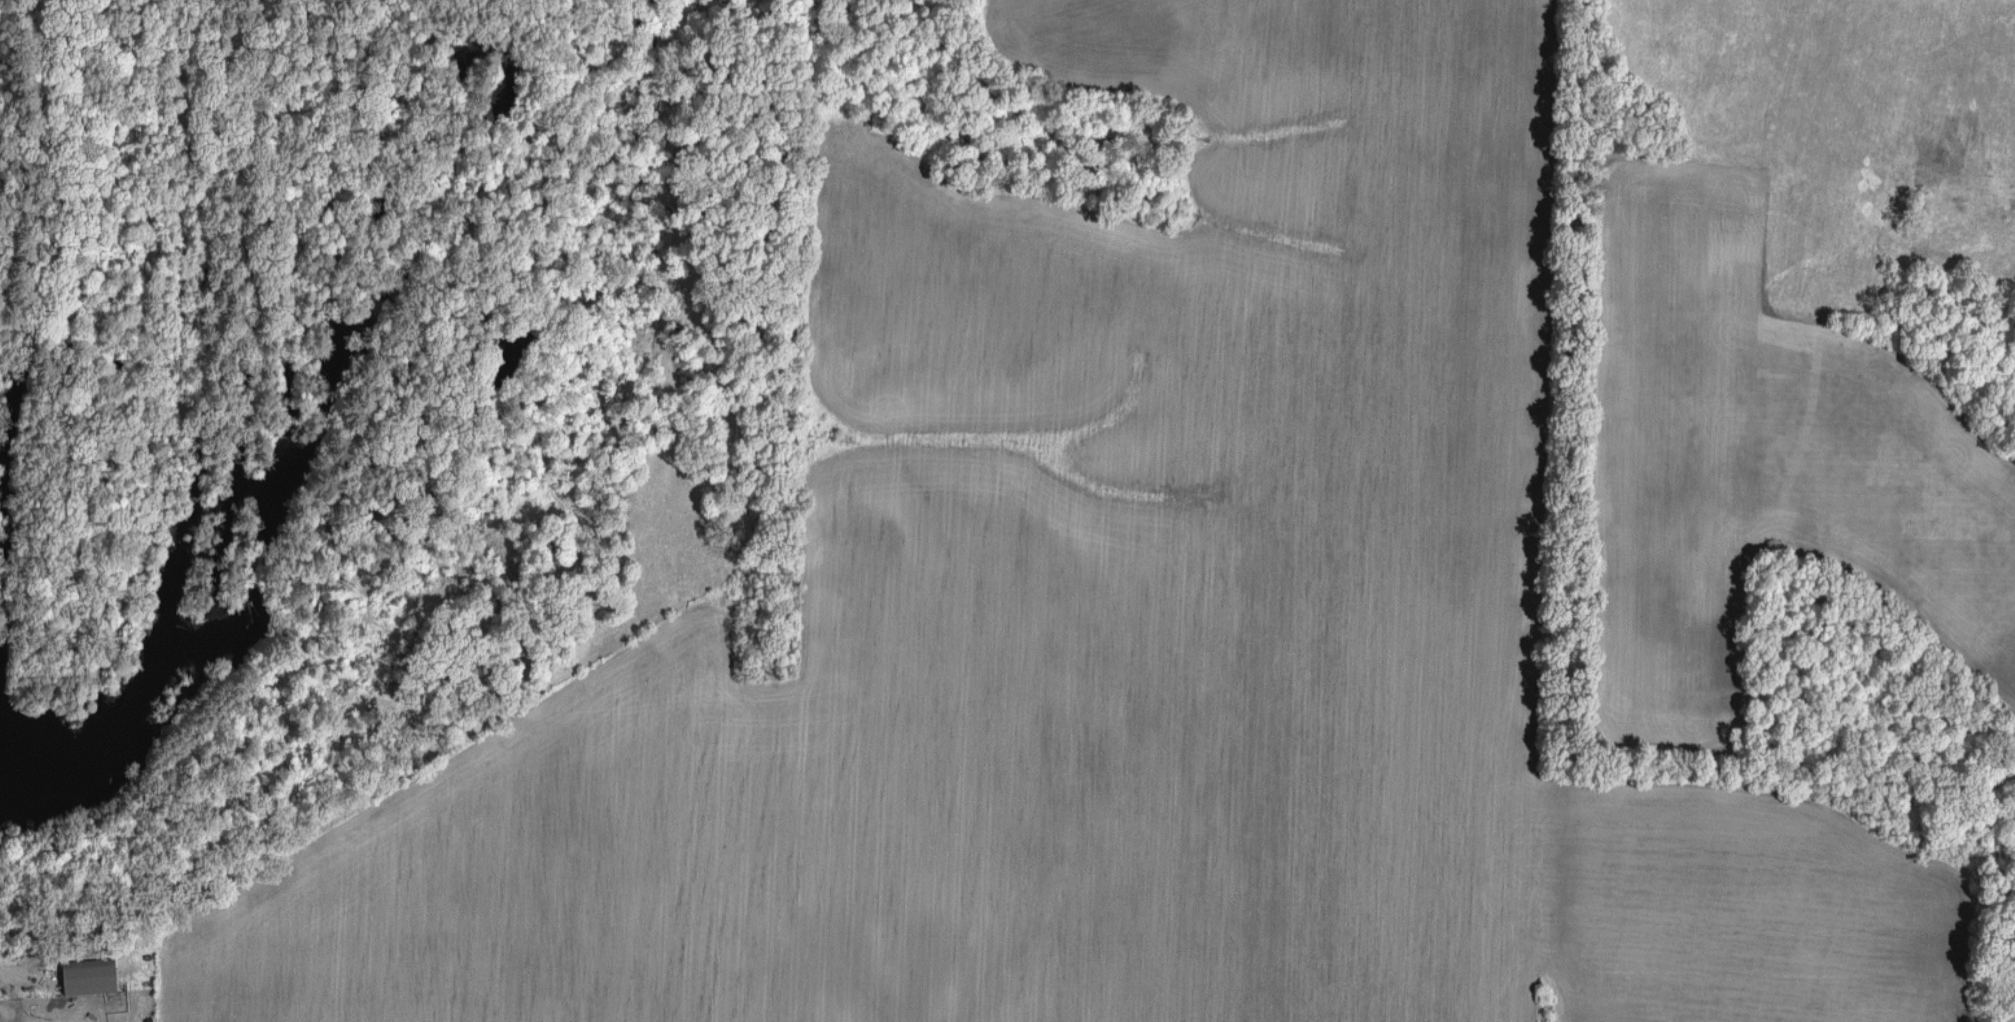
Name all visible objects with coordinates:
building: (94, 976)

